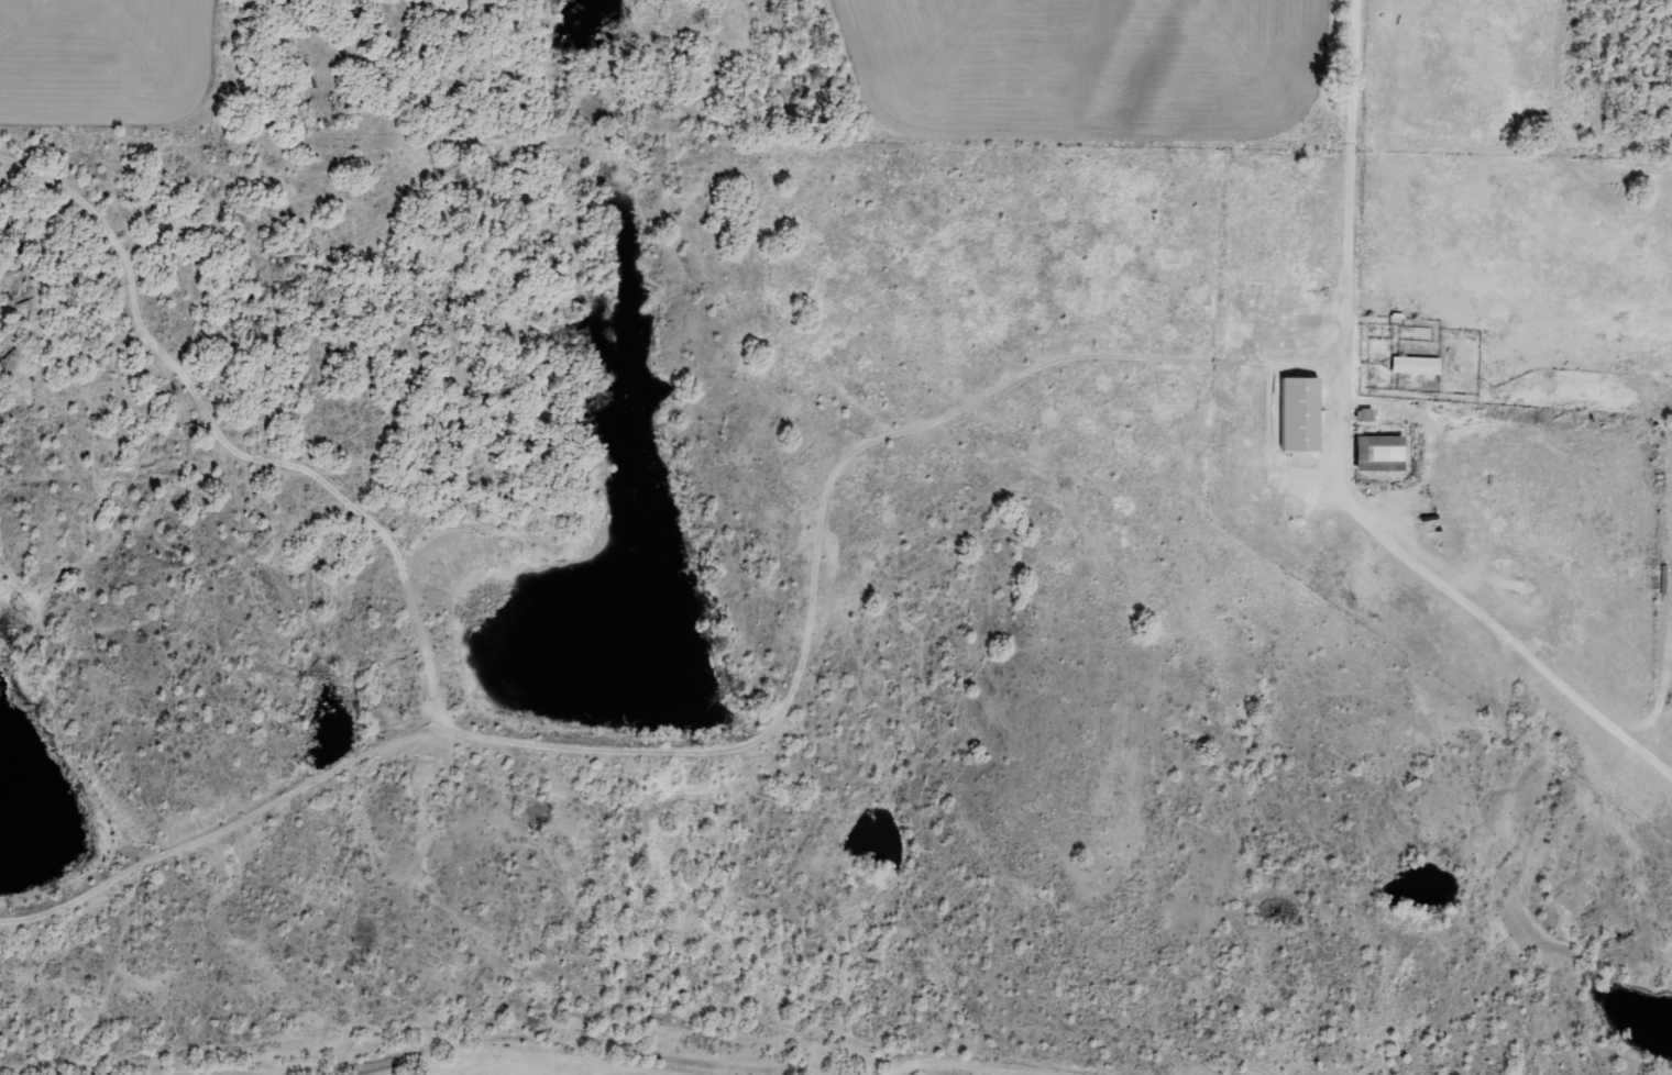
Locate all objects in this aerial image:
building: (1416, 366)
road: (139, 415)
building: (1300, 415)
building: (1380, 454)
road: (1350, 529)
road: (726, 857)

